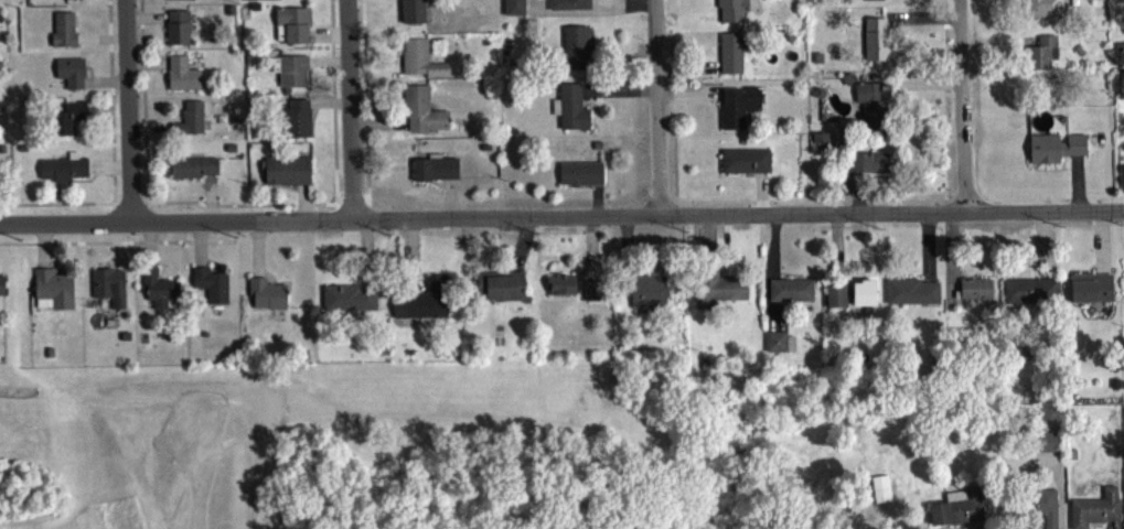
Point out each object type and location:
building: (71, 1)
building: (178, 1)
building: (870, 1)
building: (568, 7)
building: (513, 10)
building: (1043, 10)
building: (730, 13)
building: (411, 15)
building: (290, 30)
building: (176, 32)
building: (62, 33)
building: (874, 43)
building: (575, 51)
building: (729, 57)
building: (1040, 57)
building: (419, 64)
building: (290, 75)
building: (69, 76)
building: (181, 78)
road: (962, 106)
road: (657, 108)
building: (869, 108)
road: (349, 110)
building: (737, 110)
road: (129, 111)
building: (569, 112)
building: (421, 116)
building: (67, 121)
building: (188, 122)
building: (297, 122)
building: (1053, 151)
building: (745, 165)
building: (868, 168)
building: (192, 171)
building: (61, 172)
building: (433, 173)
building: (286, 175)
building: (579, 179)
road: (561, 217)
building: (210, 289)
building: (560, 289)
building: (1, 290)
building: (499, 290)
building: (108, 291)
building: (158, 292)
building: (1090, 292)
building: (716, 293)
building: (974, 293)
building: (52, 294)
building: (592, 294)
building: (790, 294)
building: (1029, 295)
building: (646, 296)
building: (861, 296)
building: (910, 296)
building: (266, 299)
building: (834, 300)
building: (347, 302)
building: (422, 304)
building: (778, 346)
road: (190, 399)
road: (453, 420)
park: (438, 436)
building: (1046, 446)
road: (170, 447)
road: (653, 475)
road: (200, 481)
road: (24, 485)
building: (879, 494)
road: (598, 498)
building: (1037, 511)
building: (1095, 511)
building: (956, 512)
road: (60, 514)
road: (390, 517)

